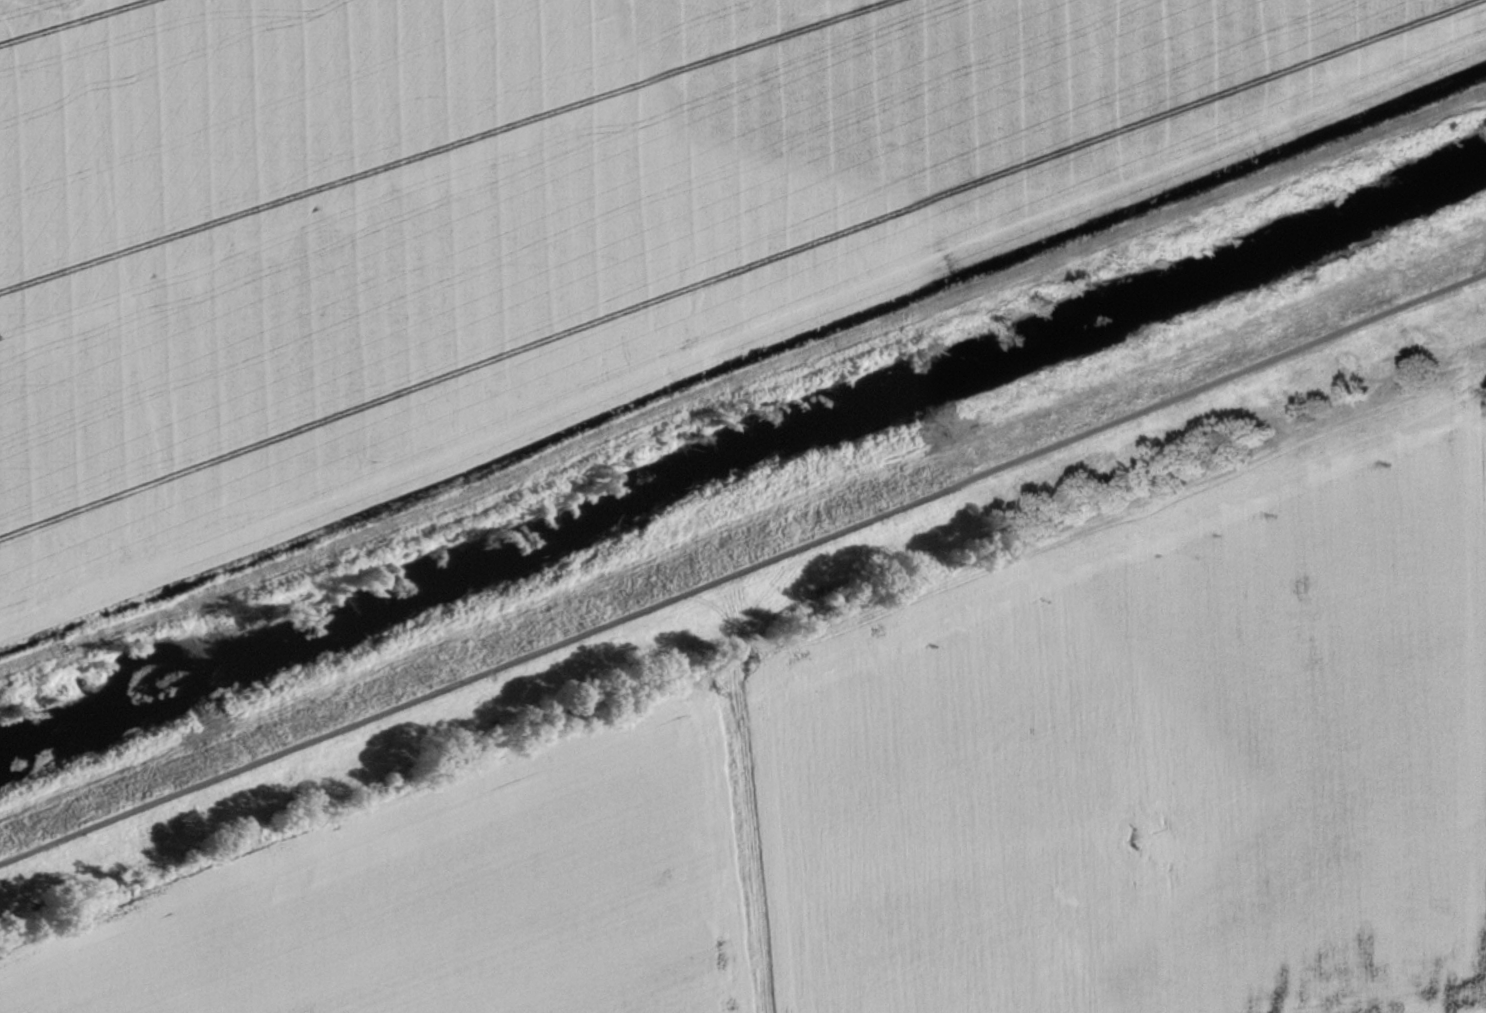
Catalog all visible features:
river: (737, 446)
road: (743, 569)

